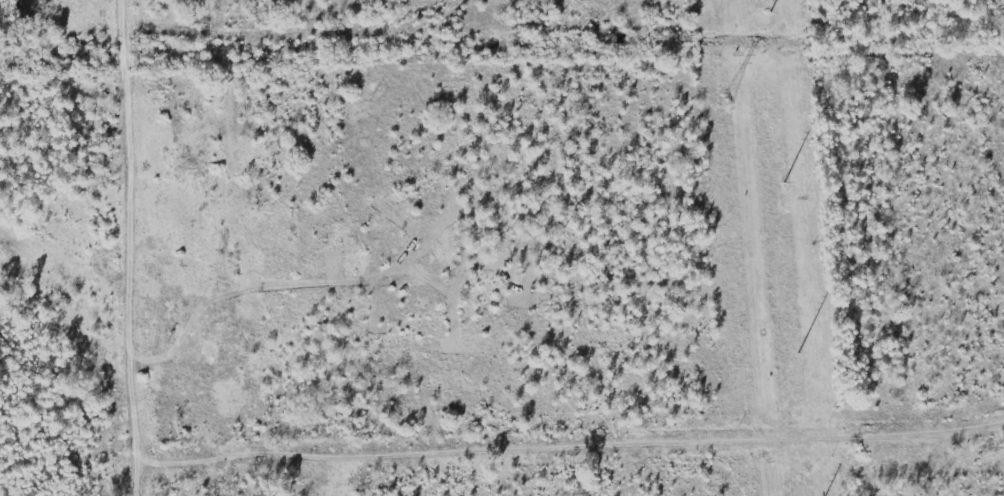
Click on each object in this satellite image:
power tower: (724, 99)
road: (130, 247)
road: (569, 445)

